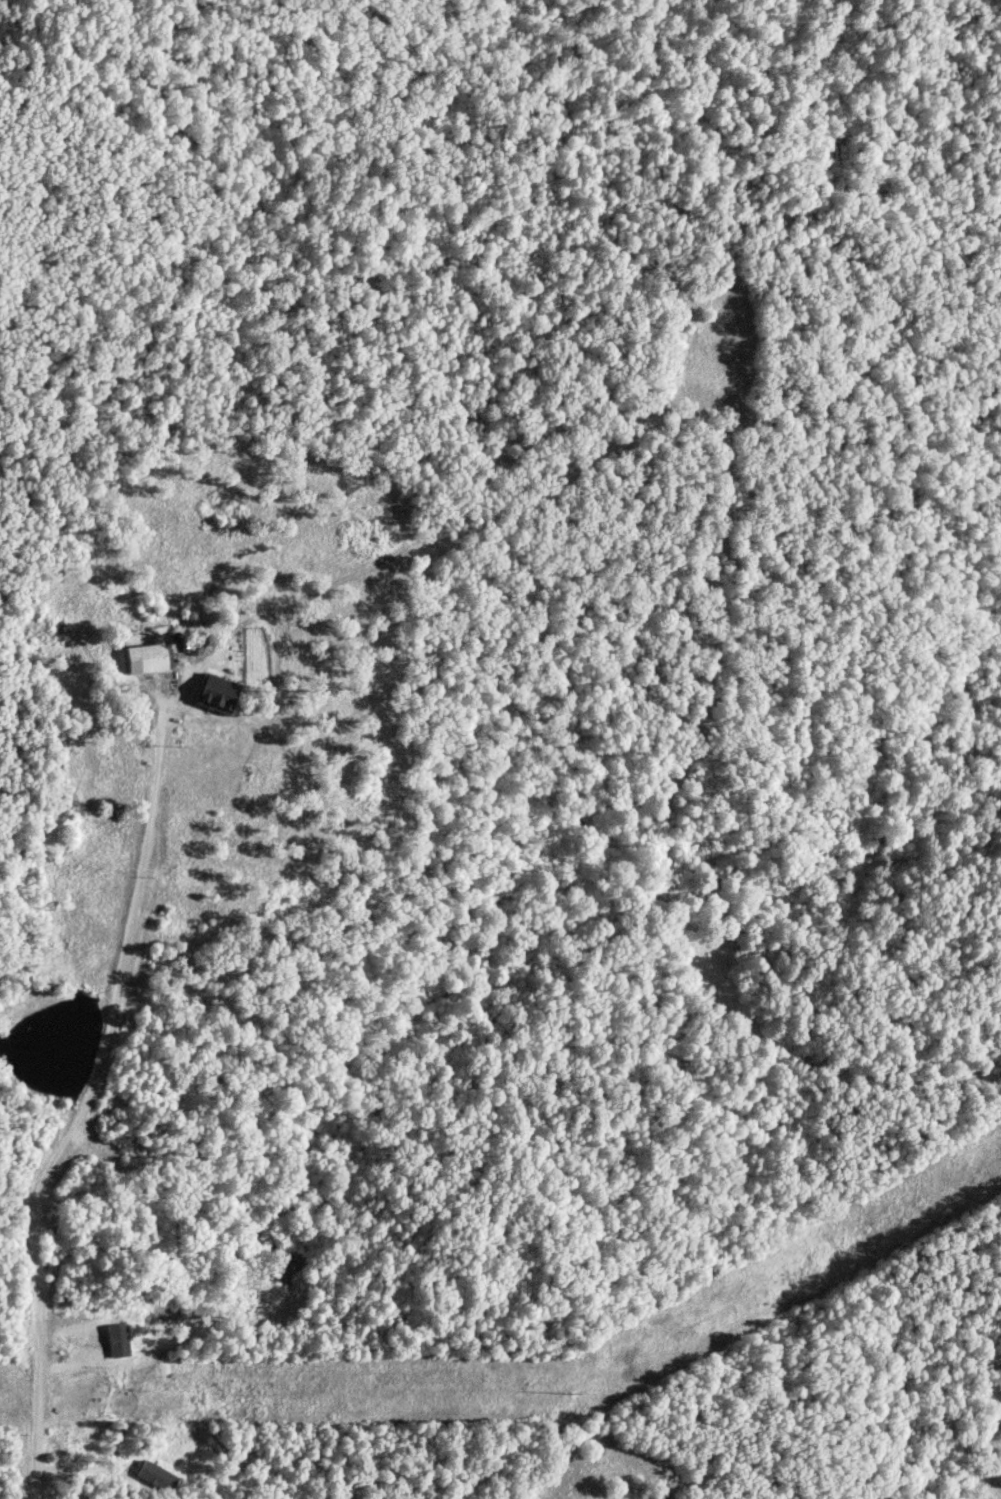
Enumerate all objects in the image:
road: (540, 191)
road: (500, 382)
building: (148, 659)
building: (218, 694)
road: (82, 1109)

